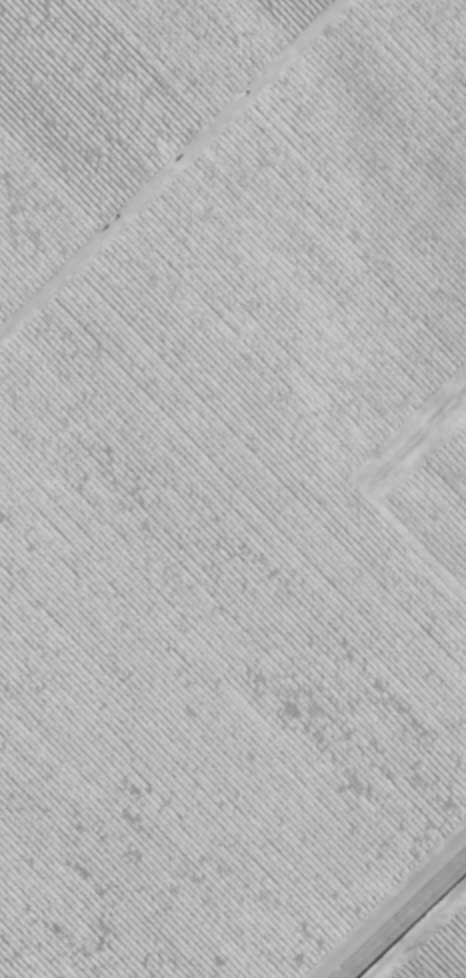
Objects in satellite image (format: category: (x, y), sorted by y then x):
road: (405, 920)

